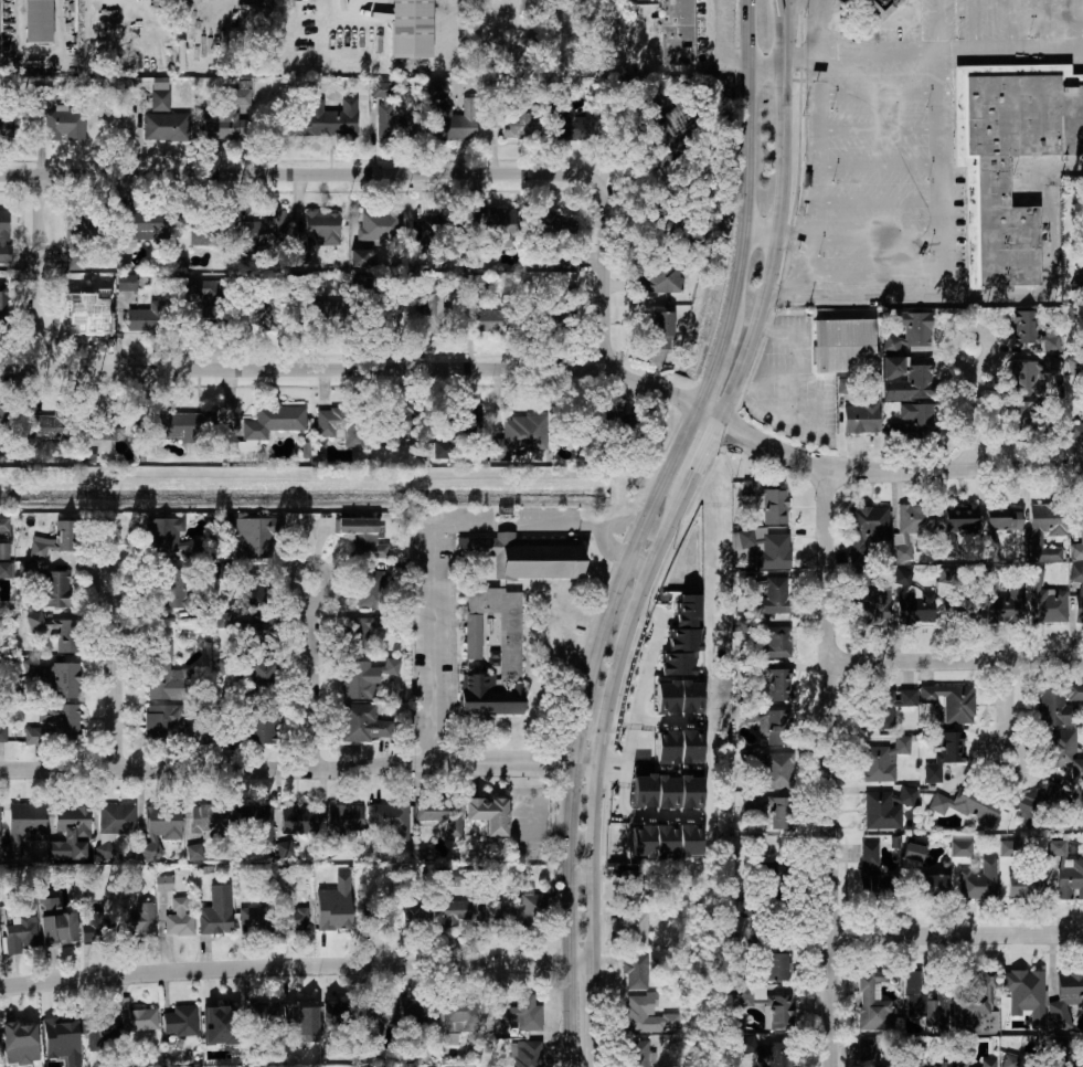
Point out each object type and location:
road: (368, 0)
building: (879, 7)
building: (36, 22)
road: (1044, 25)
road: (1081, 25)
road: (936, 27)
road: (974, 27)
road: (1010, 27)
building: (411, 29)
road: (715, 31)
building: (676, 33)
road: (931, 54)
road: (732, 63)
road: (765, 64)
building: (381, 88)
building: (436, 89)
road: (879, 93)
building: (158, 96)
building: (225, 115)
building: (660, 118)
building: (323, 120)
building: (7, 123)
building: (394, 123)
building: (458, 123)
building: (64, 125)
building: (166, 126)
building: (519, 126)
building: (575, 127)
road: (879, 129)
road: (818, 149)
road: (879, 166)
road: (296, 175)
road: (939, 175)
building: (995, 180)
road: (878, 202)
building: (665, 210)
building: (381, 224)
building: (145, 225)
building: (496, 225)
building: (553, 225)
building: (974, 225)
building: (264, 229)
building: (319, 229)
building: (429, 229)
building: (74, 230)
building: (208, 231)
road: (760, 231)
building: (4, 235)
road: (793, 236)
road: (877, 240)
building: (360, 256)
road: (40, 273)
road: (603, 275)
road: (874, 275)
building: (665, 278)
building: (361, 282)
building: (203, 289)
road: (989, 297)
building: (4, 302)
building: (570, 303)
building: (329, 313)
building: (434, 314)
building: (263, 315)
building: (140, 319)
building: (491, 320)
building: (88, 321)
building: (1023, 328)
building: (662, 329)
building: (909, 330)
building: (843, 346)
building: (894, 367)
road: (339, 369)
building: (1022, 379)
building: (912, 384)
road: (974, 409)
building: (862, 416)
building: (1019, 418)
building: (1, 419)
building: (915, 420)
building: (274, 422)
building: (625, 423)
building: (185, 424)
building: (341, 424)
building: (50, 425)
building: (404, 425)
building: (1076, 433)
building: (519, 436)
building: (305, 450)
building: (443, 450)
building: (87, 454)
road: (869, 469)
building: (768, 503)
building: (1002, 517)
building: (1045, 518)
building: (914, 519)
building: (959, 520)
building: (4, 524)
road: (638, 528)
road: (665, 528)
building: (866, 530)
building: (1081, 532)
building: (163, 535)
building: (361, 537)
building: (252, 538)
road: (427, 538)
building: (54, 539)
road: (606, 547)
building: (767, 549)
building: (528, 556)
road: (636, 562)
building: (6, 569)
building: (1076, 573)
building: (945, 574)
building: (903, 577)
building: (172, 584)
building: (55, 589)
building: (369, 590)
building: (256, 592)
building: (769, 594)
building: (1052, 605)
building: (872, 606)
building: (1079, 606)
building: (915, 609)
building: (688, 610)
building: (1001, 610)
building: (959, 612)
building: (224, 619)
building: (500, 627)
building: (55, 631)
building: (261, 633)
building: (358, 635)
building: (471, 637)
building: (682, 638)
building: (768, 641)
road: (652, 655)
building: (160, 657)
building: (0, 662)
road: (955, 662)
building: (677, 663)
building: (32, 666)
building: (746, 667)
road: (115, 674)
building: (261, 676)
road: (312, 676)
building: (357, 679)
building: (66, 680)
building: (778, 685)
building: (690, 695)
building: (489, 696)
building: (667, 696)
building: (949, 701)
building: (1057, 704)
building: (884, 707)
road: (1006, 711)
building: (750, 714)
building: (62, 720)
building: (161, 722)
building: (362, 723)
building: (259, 725)
building: (774, 728)
building: (39, 733)
building: (194, 735)
building: (0, 736)
building: (690, 746)
building: (668, 747)
building: (1063, 752)
building: (943, 754)
building: (882, 760)
road: (627, 762)
road: (828, 768)
road: (296, 769)
building: (775, 771)
road: (624, 774)
building: (645, 790)
building: (668, 790)
building: (691, 791)
building: (1047, 805)
building: (967, 806)
building: (885, 807)
building: (439, 812)
building: (488, 813)
building: (782, 814)
road: (646, 815)
building: (206, 817)
building: (252, 817)
building: (344, 817)
building: (115, 818)
building: (25, 820)
building: (162, 820)
building: (297, 820)
building: (389, 820)
building: (72, 822)
building: (0, 823)
building: (666, 839)
building: (689, 839)
building: (643, 841)
building: (285, 848)
building: (959, 848)
building: (1009, 848)
building: (104, 849)
building: (194, 851)
building: (913, 853)
building: (773, 871)
building: (18, 873)
building: (873, 876)
building: (637, 878)
building: (1070, 879)
building: (1027, 880)
building: (978, 883)
building: (163, 884)
building: (934, 888)
building: (531, 911)
building: (453, 912)
building: (415, 915)
building: (336, 916)
building: (495, 916)
building: (256, 917)
building: (378, 918)
building: (178, 919)
building: (139, 920)
building: (293, 920)
building: (54, 922)
building: (215, 923)
building: (96, 926)
building: (635, 929)
building: (19, 936)
road: (957, 937)
road: (562, 962)
road: (267, 966)
building: (776, 968)
building: (636, 978)
building: (1027, 994)
building: (744, 995)
building: (1065, 1000)
building: (923, 1003)
building: (870, 1006)
building: (975, 1006)
building: (338, 1008)
building: (457, 1011)
building: (516, 1011)
building: (299, 1012)
building: (778, 1012)
building: (259, 1014)
building: (417, 1014)
building: (217, 1015)
building: (374, 1015)
building: (649, 1015)
building: (139, 1021)
building: (180, 1022)
building: (98, 1023)
building: (18, 1032)
building: (61, 1035)
building: (764, 1052)
building: (869, 1053)
building: (524, 1054)
building: (636, 1056)
building: (971, 1060)
building: (1011, 1060)
building: (938, 1065)

